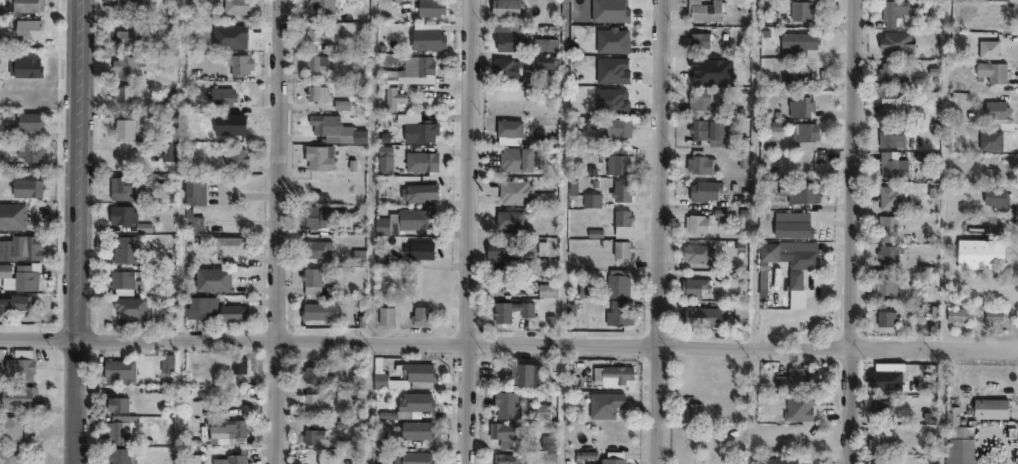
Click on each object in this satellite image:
building: (24, 5)
building: (320, 5)
building: (127, 6)
building: (237, 6)
building: (427, 7)
building: (505, 7)
building: (705, 8)
building: (801, 9)
building: (891, 9)
building: (996, 15)
building: (28, 29)
building: (313, 30)
building: (240, 33)
building: (424, 35)
building: (698, 36)
building: (124, 38)
building: (806, 38)
building: (895, 38)
building: (609, 39)
building: (314, 60)
building: (548, 62)
building: (238, 64)
building: (415, 64)
building: (124, 65)
building: (26, 66)
building: (886, 66)
building: (502, 67)
building: (991, 68)
building: (610, 69)
building: (797, 73)
building: (1, 78)
building: (314, 91)
building: (122, 94)
building: (399, 95)
building: (220, 96)
building: (390, 97)
building: (699, 97)
building: (895, 97)
building: (610, 100)
building: (801, 104)
building: (994, 107)
building: (28, 121)
building: (699, 126)
building: (714, 126)
building: (616, 127)
building: (123, 128)
building: (332, 128)
building: (507, 129)
building: (416, 130)
building: (804, 132)
building: (890, 135)
building: (996, 137)
building: (766, 138)
building: (165, 150)
building: (27, 152)
building: (316, 155)
building: (235, 157)
building: (514, 158)
building: (123, 159)
building: (386, 159)
building: (418, 160)
building: (611, 160)
building: (699, 160)
building: (892, 165)
building: (26, 187)
building: (705, 187)
building: (123, 188)
building: (620, 190)
building: (416, 191)
building: (511, 191)
building: (804, 191)
building: (193, 193)
building: (891, 194)
building: (995, 195)
building: (589, 200)
building: (315, 213)
building: (12, 217)
building: (620, 217)
building: (402, 219)
building: (507, 219)
building: (131, 220)
building: (696, 221)
building: (193, 222)
building: (886, 224)
building: (796, 227)
road: (77, 231)
road: (851, 231)
road: (277, 232)
road: (470, 232)
road: (660, 232)
building: (227, 246)
building: (21, 248)
building: (313, 248)
building: (416, 249)
building: (620, 249)
building: (697, 250)
building: (125, 251)
building: (500, 251)
building: (789, 251)
building: (888, 251)
building: (980, 252)
building: (355, 255)
building: (536, 266)
building: (5, 270)
building: (22, 278)
building: (308, 279)
building: (124, 280)
building: (211, 280)
building: (616, 283)
building: (885, 283)
building: (693, 284)
building: (545, 290)
building: (12, 306)
building: (131, 307)
building: (740, 307)
building: (201, 308)
building: (316, 310)
building: (231, 311)
building: (955, 311)
building: (499, 312)
building: (617, 313)
building: (701, 313)
building: (383, 315)
building: (419, 315)
building: (885, 315)
building: (996, 315)
road: (508, 344)
building: (167, 362)
building: (20, 363)
building: (240, 363)
building: (117, 368)
building: (312, 374)
building: (523, 375)
building: (610, 376)
building: (419, 377)
building: (796, 379)
building: (19, 395)
building: (317, 401)
building: (118, 403)
road: (369, 403)
building: (410, 405)
building: (505, 405)
building: (603, 405)
building: (799, 407)
building: (881, 408)
building: (990, 408)
building: (534, 410)
building: (693, 411)
building: (956, 425)
building: (10, 427)
building: (118, 428)
building: (227, 429)
building: (414, 430)
building: (504, 434)
building: (313, 438)
building: (380, 441)
building: (881, 442)
building: (546, 443)
building: (10, 454)
building: (120, 455)
building: (235, 456)
building: (193, 458)
building: (411, 458)
building: (613, 458)
building: (506, 459)
building: (775, 460)
building: (686, 461)
building: (885, 463)
building: (896, 463)

